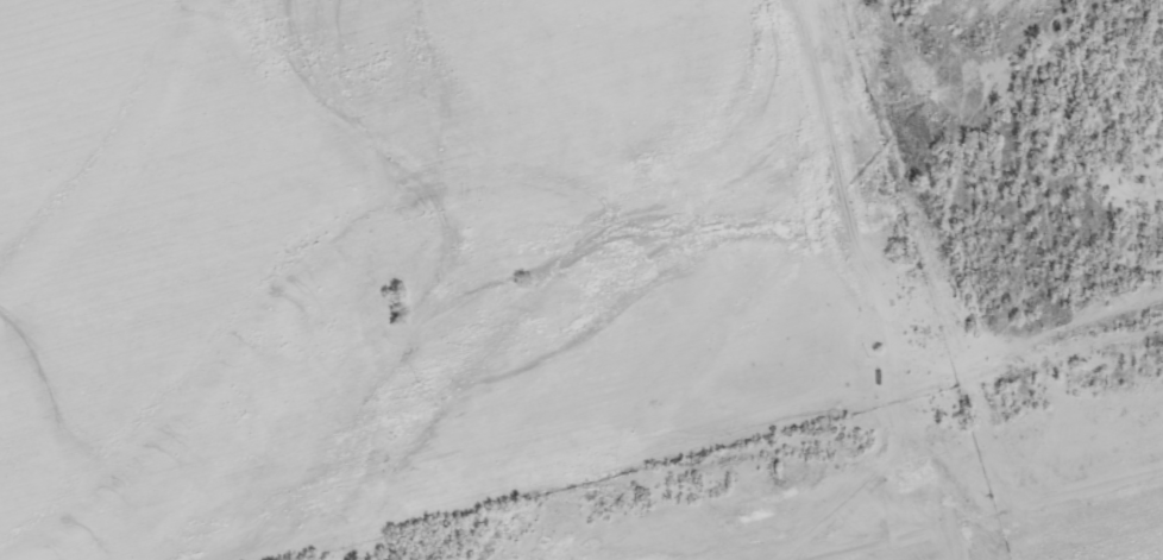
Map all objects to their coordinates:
road: (821, 279)

